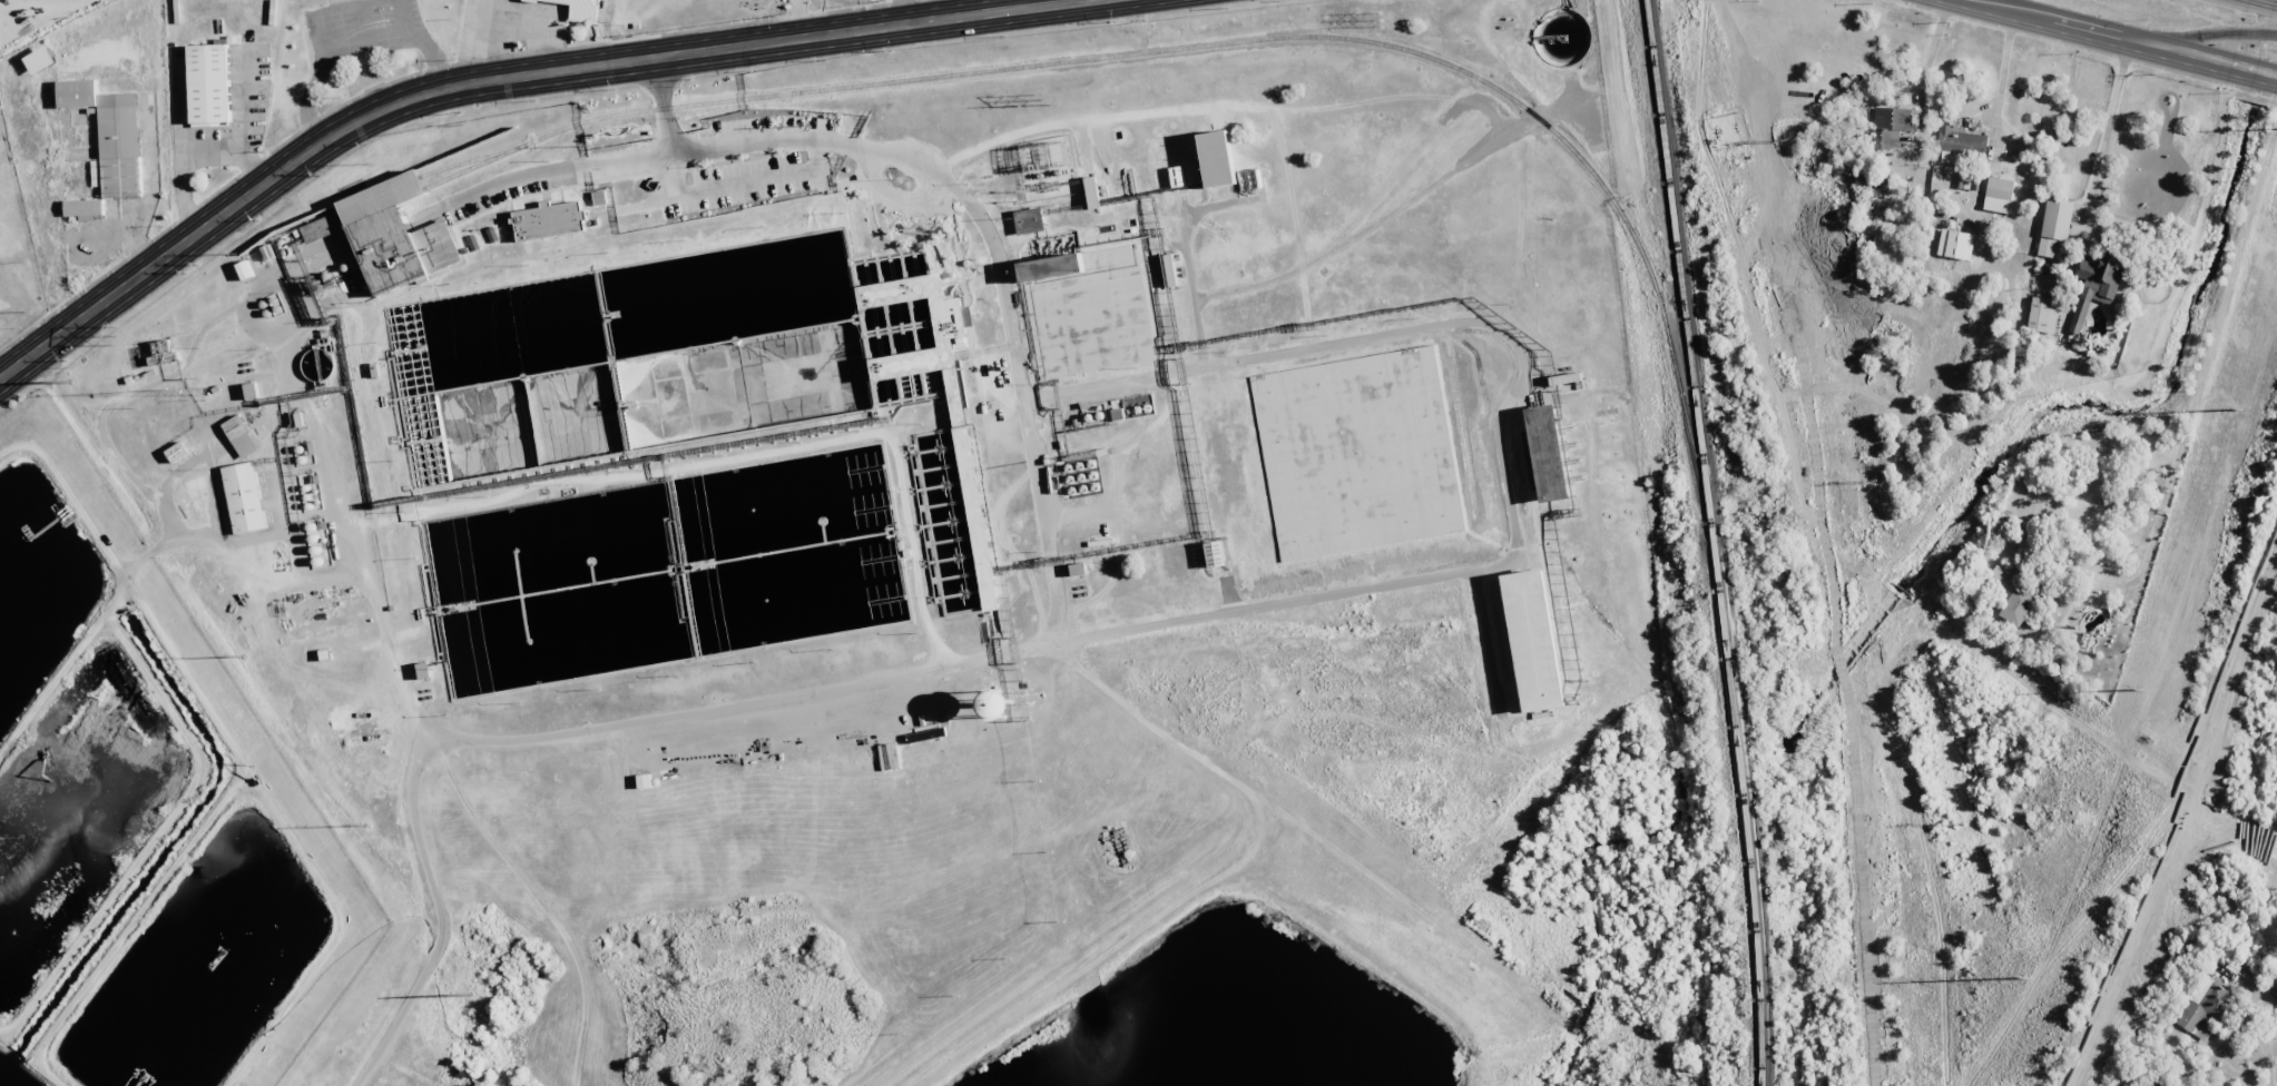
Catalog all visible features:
road: (2264, 3)
building: (581, 9)
power tower: (1381, 19)
road: (536, 30)
road: (2206, 34)
road: (492, 39)
road: (2122, 39)
railway: (1214, 43)
building: (45, 62)
road: (1924, 70)
road: (514, 76)
building: (214, 86)
road: (1999, 91)
building: (80, 95)
power tower: (1051, 99)
power tower: (1028, 103)
building: (1892, 124)
power tower: (808, 125)
power tower: (1780, 140)
building: (1961, 140)
road: (2103, 144)
power tower: (591, 145)
building: (1950, 157)
railway: (468, 161)
power tower: (373, 162)
building: (1219, 166)
power substation: (1049, 167)
building: (1176, 175)
railway: (382, 192)
building: (1091, 192)
building: (1998, 195)
building: (383, 198)
building: (599, 198)
railway: (387, 204)
building: (84, 208)
building: (549, 220)
building: (1028, 221)
building: (2054, 225)
building: (492, 234)
building: (473, 243)
building: (402, 248)
power tower: (241, 253)
building: (1050, 267)
building: (2096, 287)
power tower: (20, 313)
building: (2042, 315)
power tower: (117, 336)
building: (164, 351)
building: (932, 359)
building: (255, 393)
building: (1135, 407)
power tower: (2238, 409)
building: (245, 440)
building: (1552, 454)
building: (181, 455)
power tower: (1869, 482)
building: (1376, 483)
building: (248, 501)
building: (978, 529)
railway: (1711, 542)
building: (1215, 553)
building: (1078, 570)
building: (2010, 595)
power tower: (257, 619)
building: (1533, 640)
building: (423, 670)
power tower: (2139, 691)
building: (995, 704)
water tower: (999, 707)
building: (944, 717)
building: (925, 735)
building: (887, 757)
power tower: (1961, 825)
power tower: (482, 911)
power tower: (2022, 977)
building: (2208, 1009)
building: (2156, 1083)

